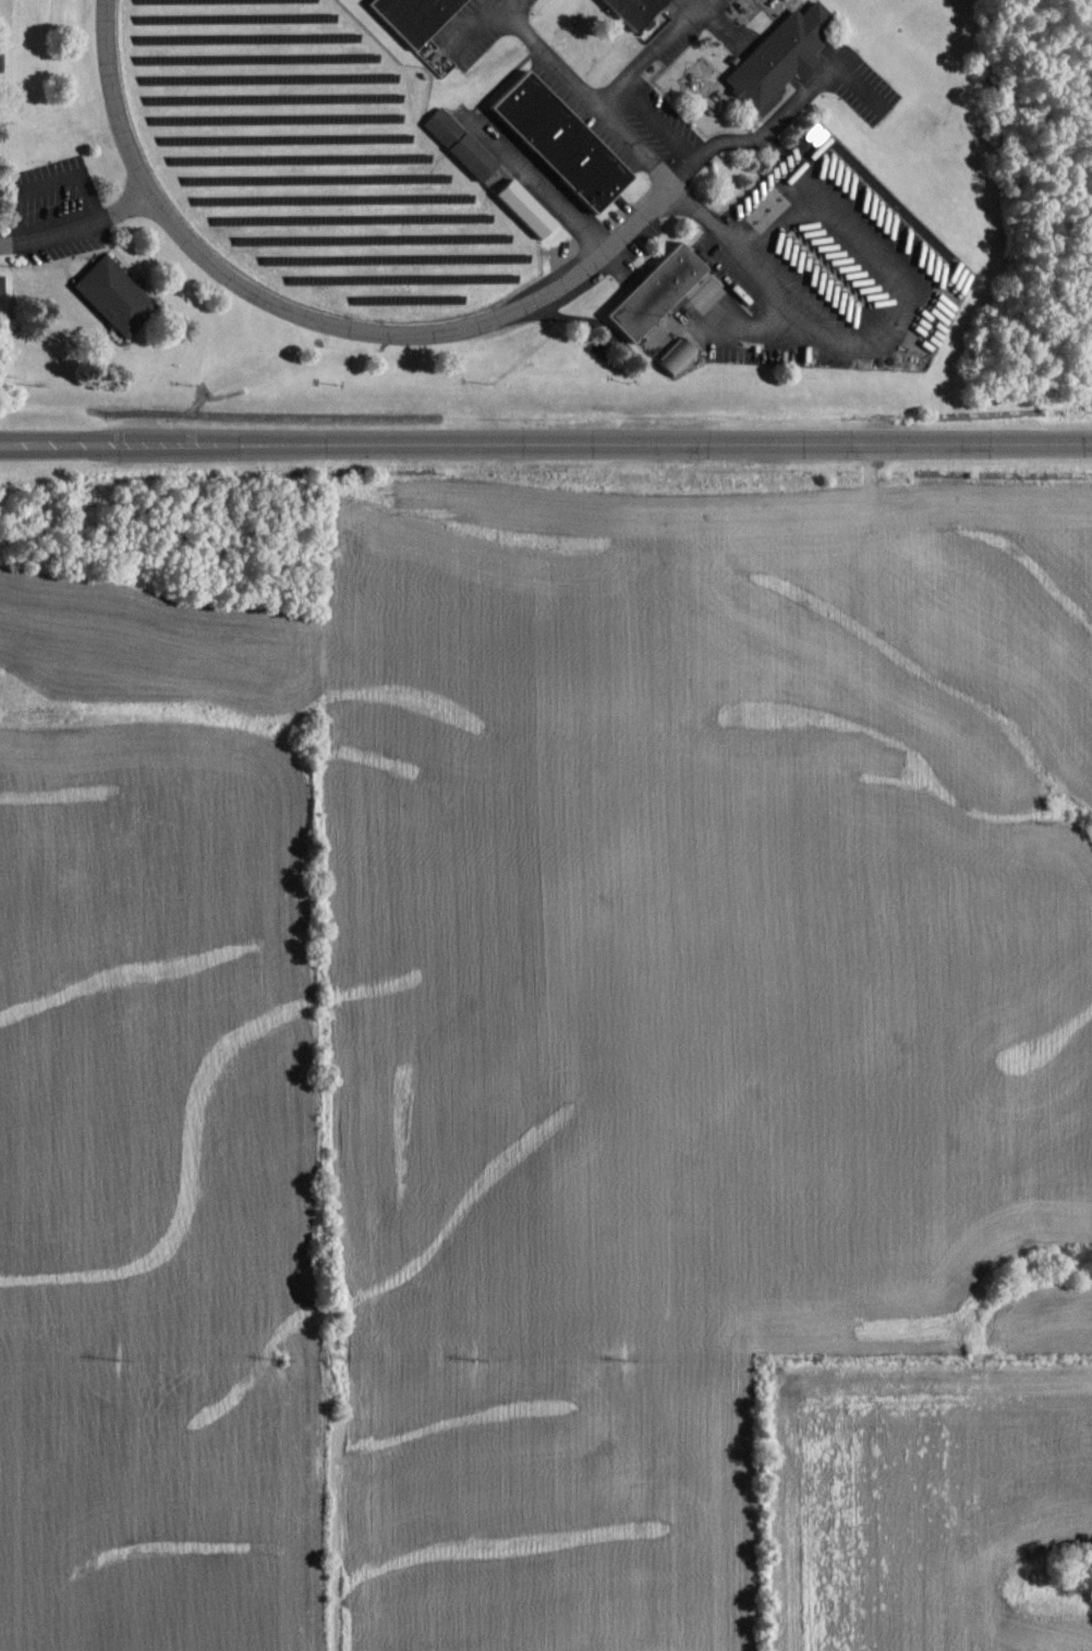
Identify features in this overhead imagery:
building: (632, 10)
building: (412, 16)
road: (473, 21)
road: (648, 50)
building: (785, 50)
road: (585, 90)
road: (782, 114)
building: (460, 138)
building: (558, 145)
road: (545, 184)
building: (524, 208)
road: (782, 223)
road: (78, 230)
road: (867, 240)
building: (653, 293)
building: (116, 294)
road: (782, 294)
road: (318, 311)
building: (676, 357)
road: (546, 444)

